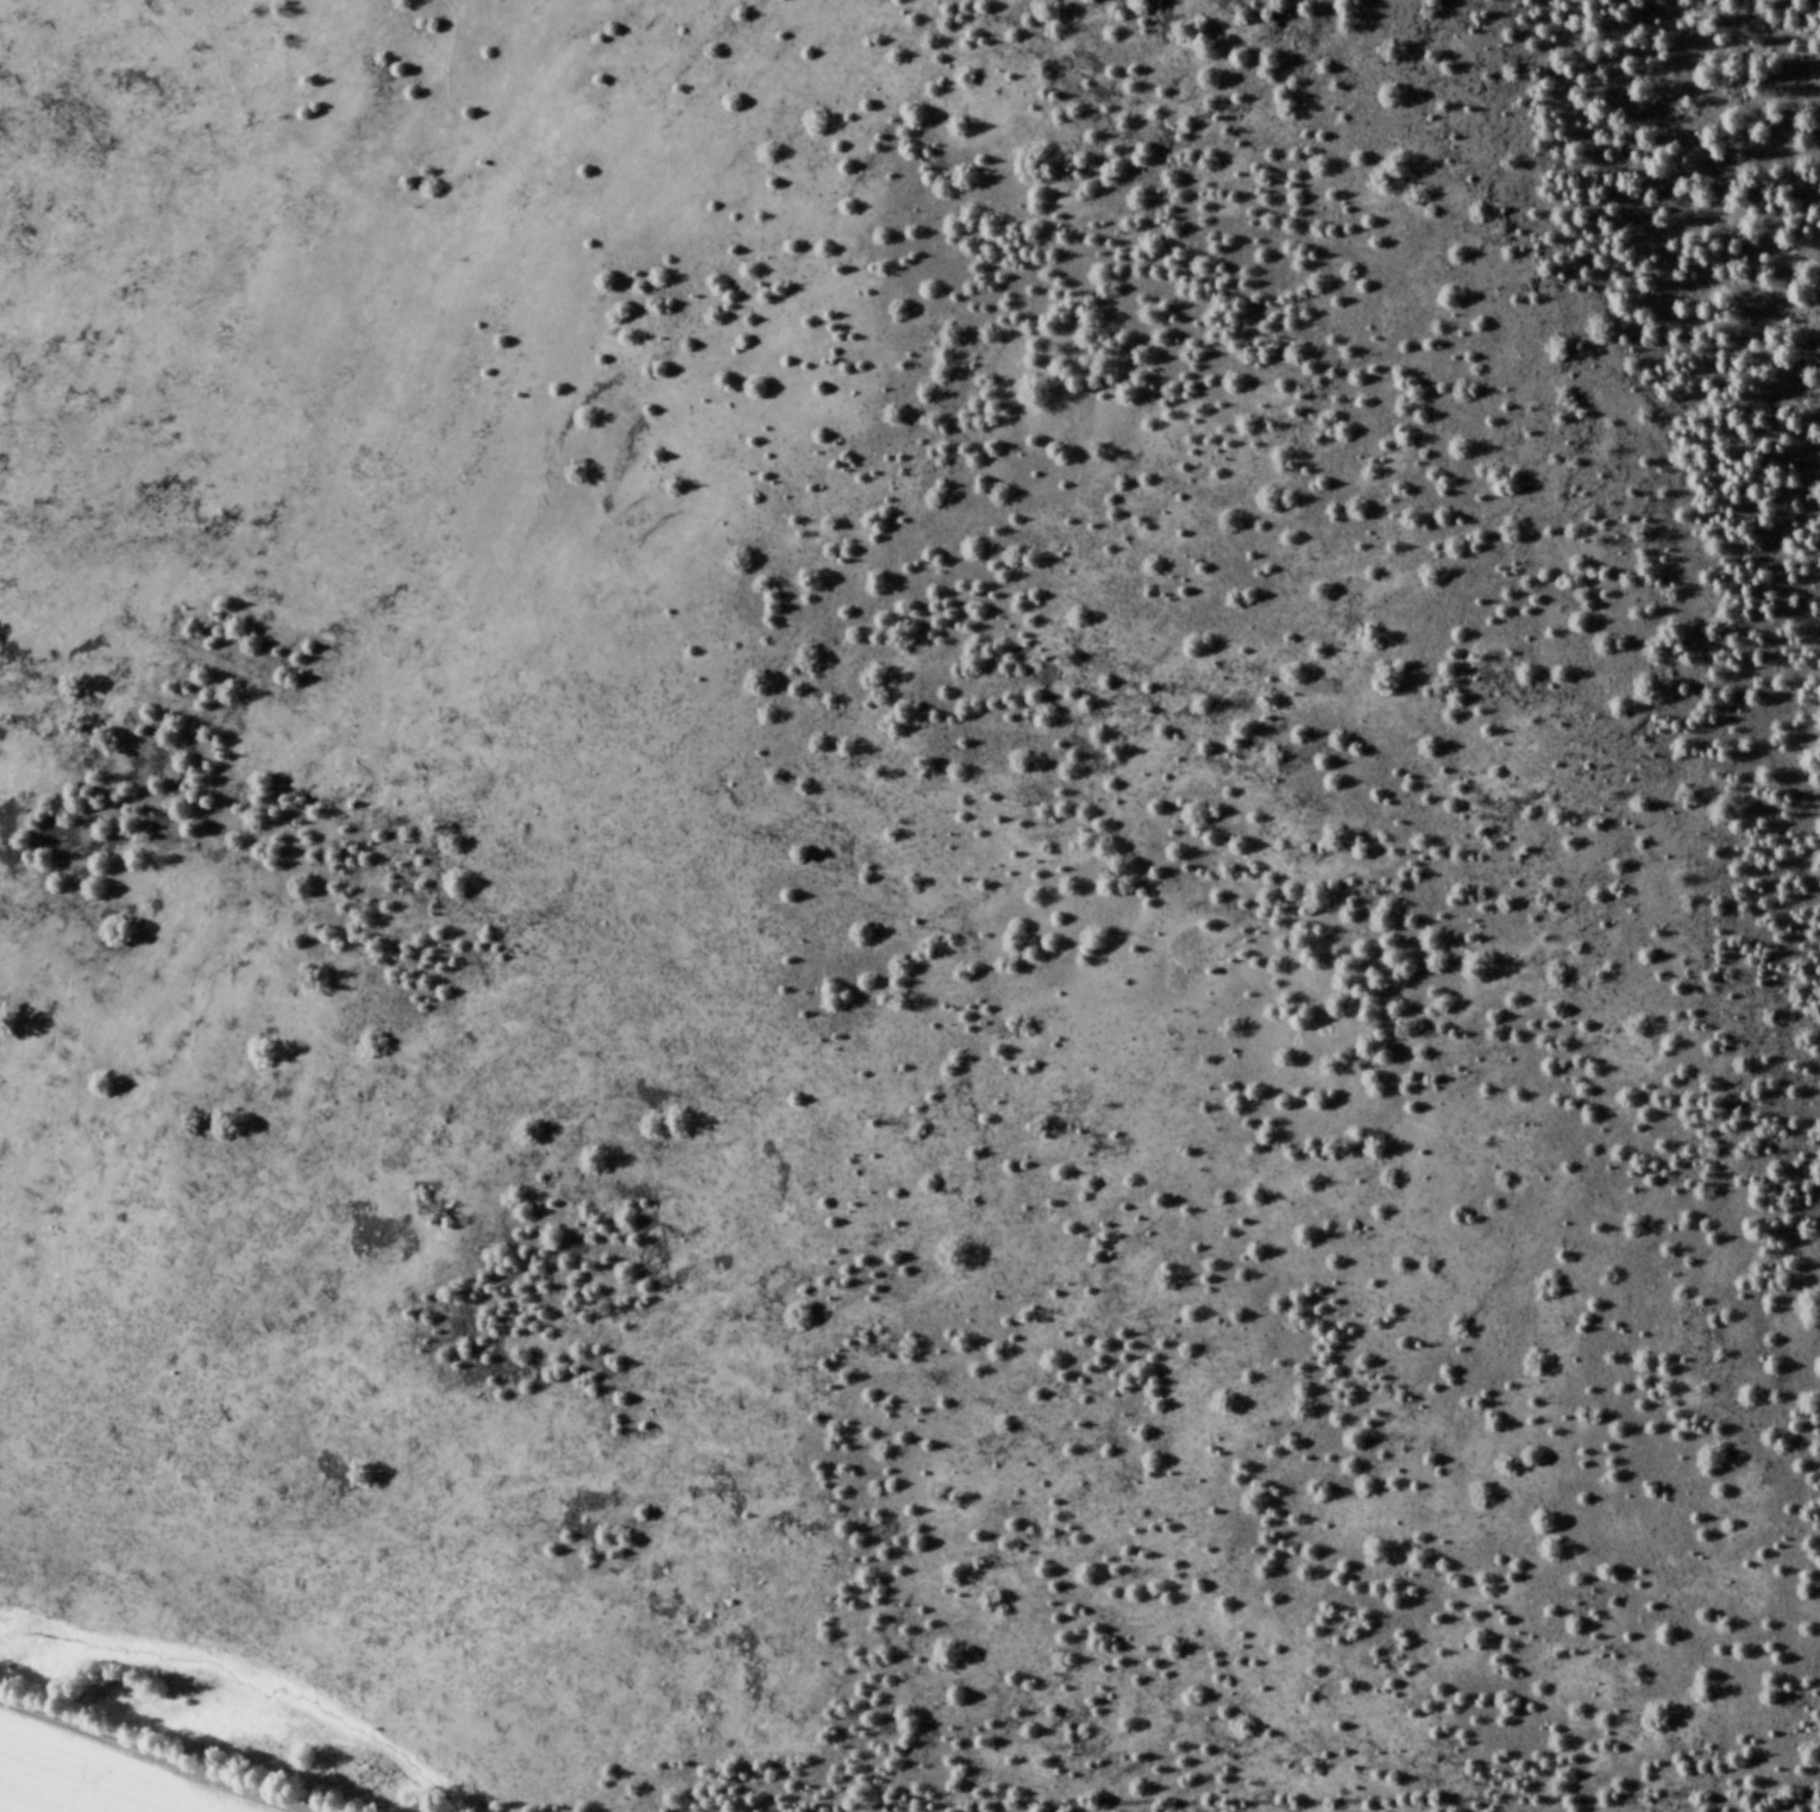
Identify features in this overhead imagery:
road: (152, 1755)

